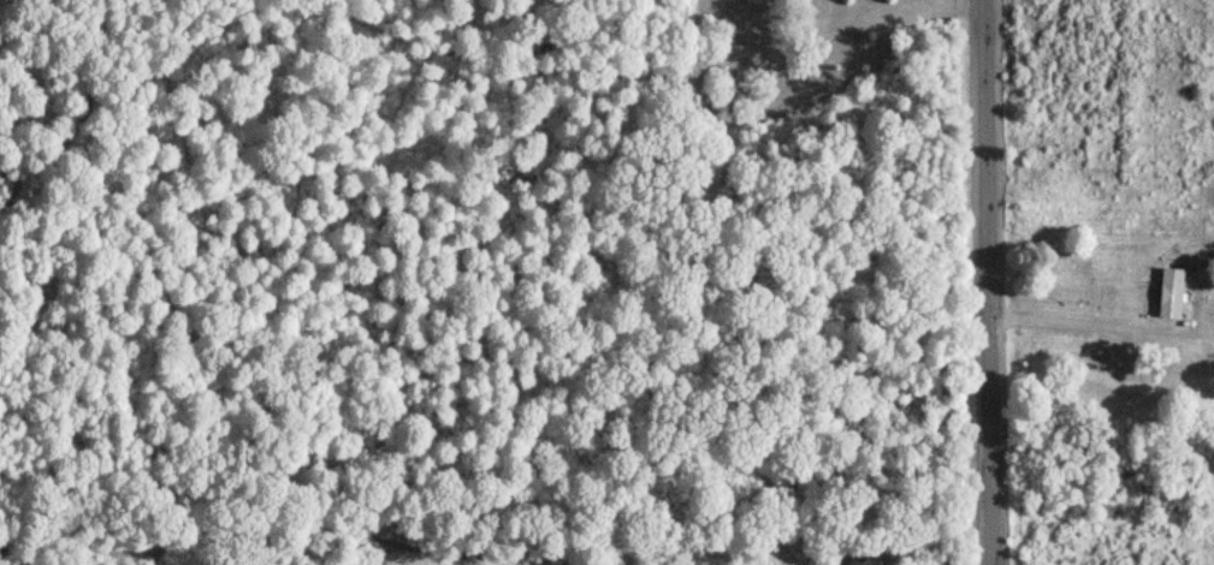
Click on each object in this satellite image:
road: (987, 281)
building: (1162, 289)
road: (1105, 321)

